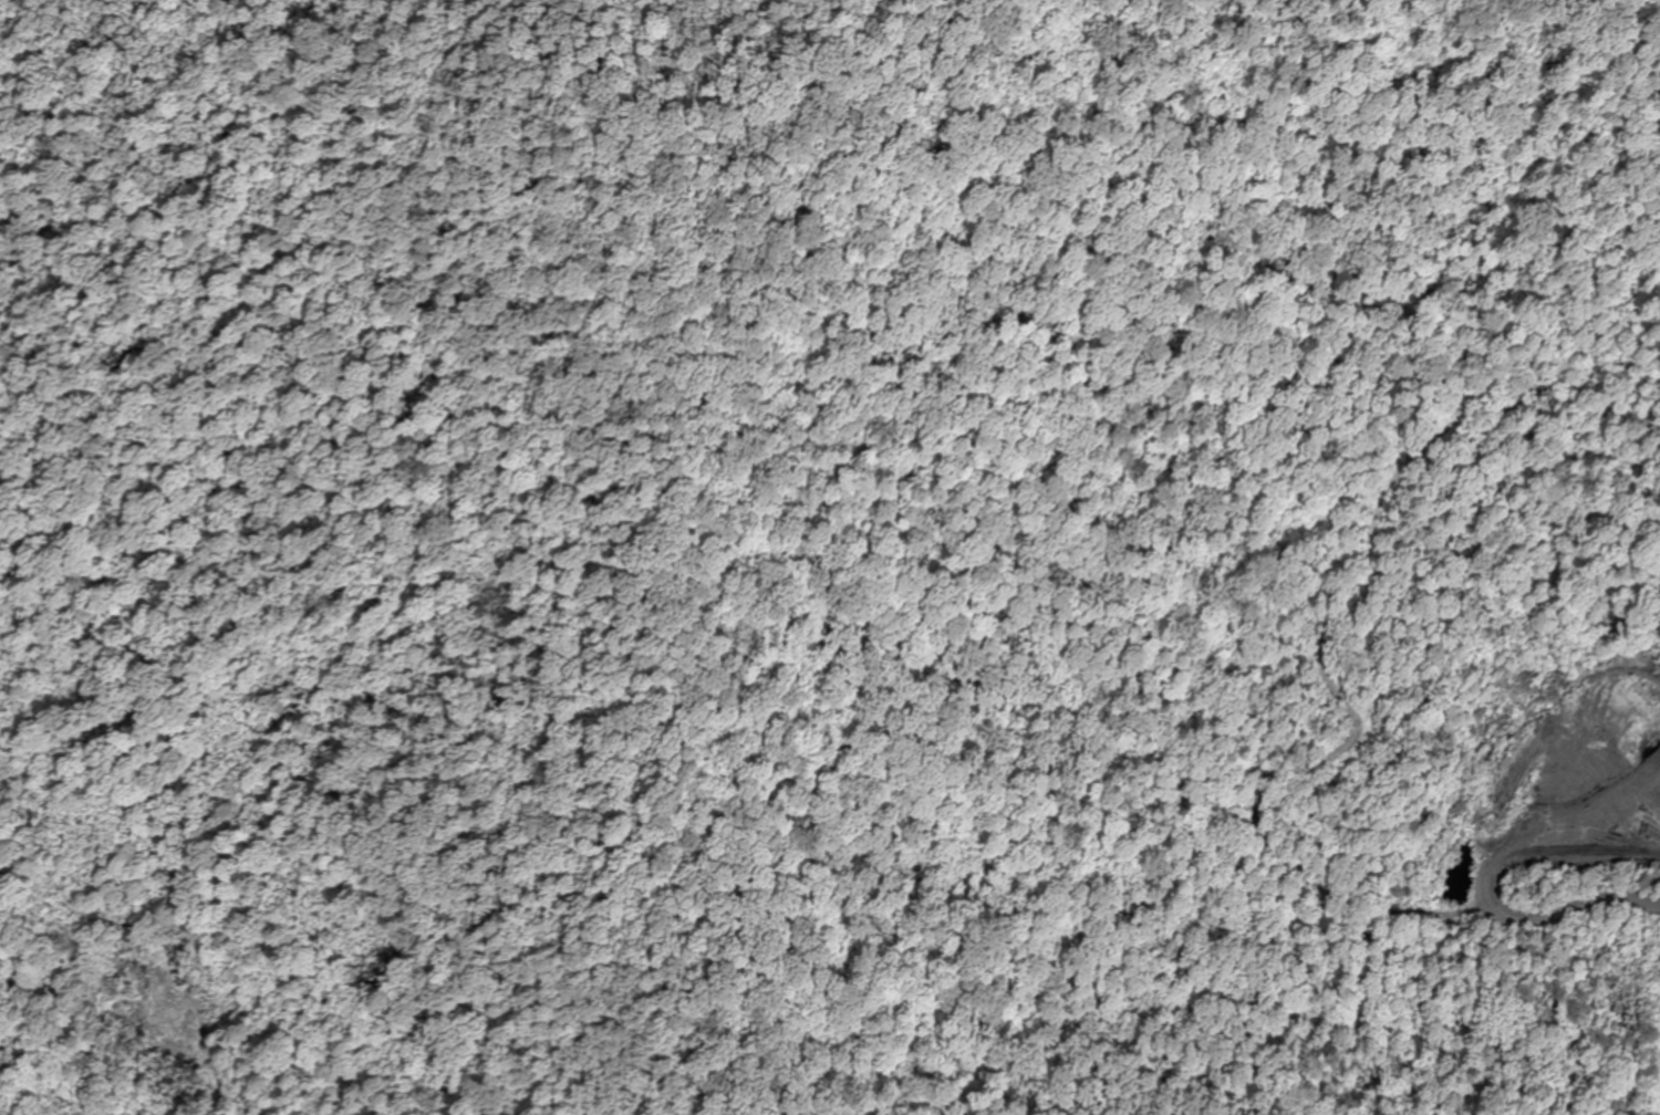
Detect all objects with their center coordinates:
road: (1575, 904)

